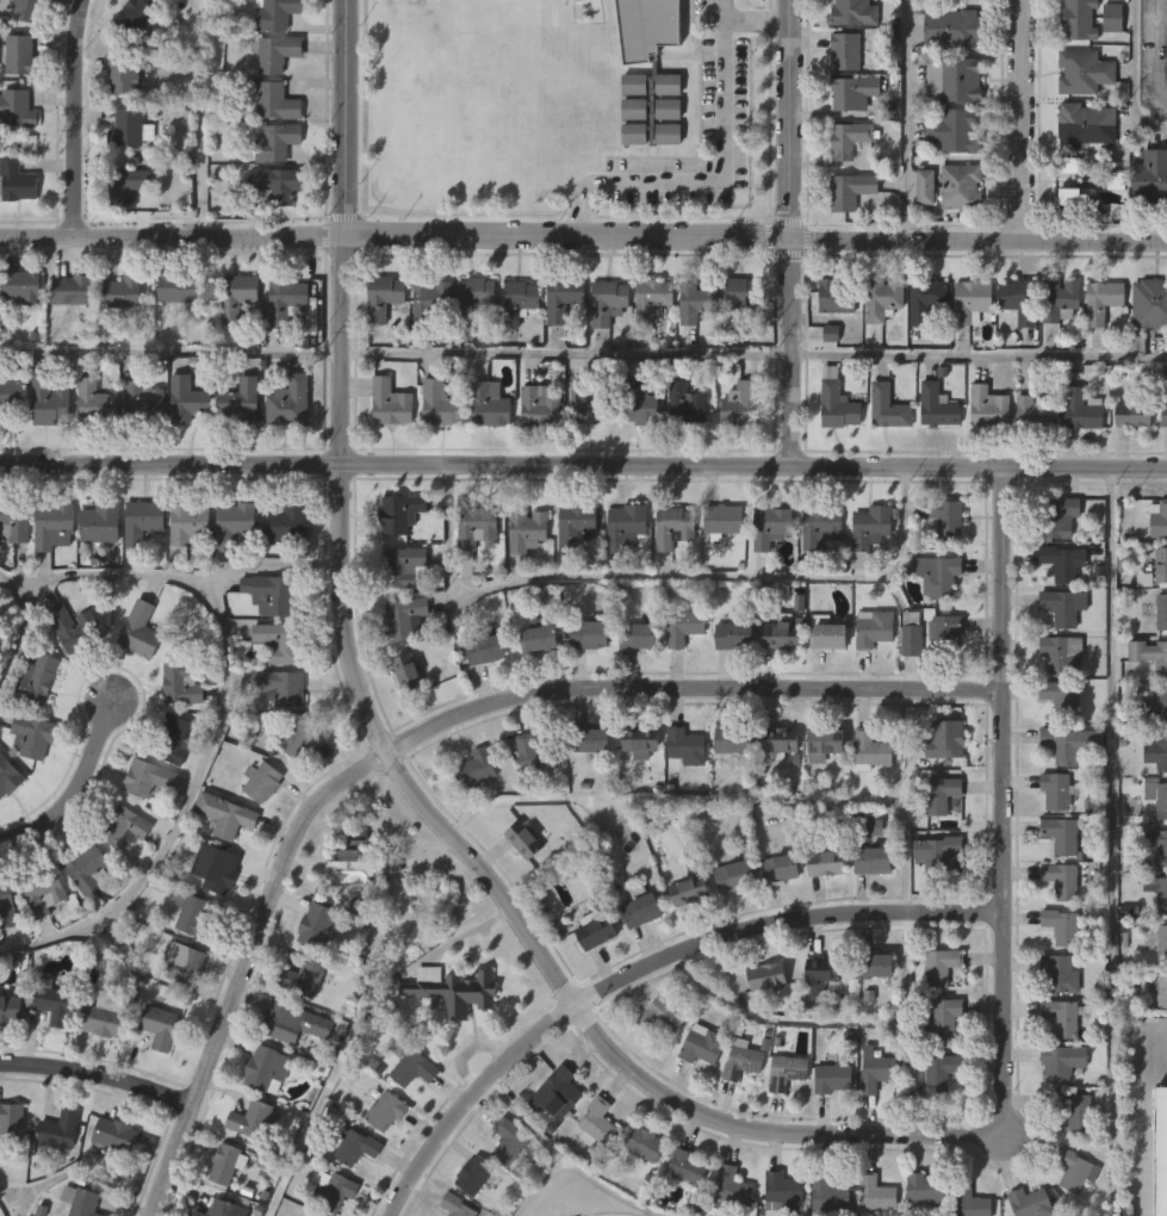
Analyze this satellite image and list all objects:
building: (29, 11)
building: (855, 12)
building: (275, 13)
building: (160, 14)
building: (134, 17)
building: (1097, 18)
building: (1115, 18)
building: (1080, 19)
building: (648, 27)
building: (955, 29)
building: (873, 41)
building: (846, 51)
building: (278, 52)
road: (1157, 54)
building: (19, 55)
building: (1085, 72)
building: (123, 74)
building: (956, 79)
building: (853, 91)
building: (273, 99)
building: (17, 107)
road: (69, 119)
road: (1024, 119)
road: (902, 120)
building: (1088, 124)
building: (132, 128)
building: (956, 129)
building: (628, 135)
building: (663, 135)
building: (852, 137)
building: (277, 141)
building: (14, 159)
building: (663, 159)
building: (628, 160)
building: (1152, 174)
road: (712, 176)
building: (15, 179)
building: (126, 182)
building: (277, 182)
building: (628, 184)
building: (663, 184)
building: (926, 184)
building: (962, 186)
building: (852, 188)
building: (1074, 196)
building: (1148, 225)
building: (13, 231)
building: (272, 234)
road: (795, 234)
building: (122, 235)
building: (919, 236)
building: (955, 236)
road: (583, 240)
building: (845, 241)
building: (1070, 247)
building: (23, 285)
building: (175, 286)
building: (72, 289)
building: (122, 290)
building: (837, 294)
building: (237, 296)
building: (384, 296)
building: (474, 296)
building: (652, 297)
building: (561, 298)
building: (884, 298)
building: (927, 298)
building: (1022, 298)
building: (286, 299)
building: (430, 299)
building: (519, 299)
building: (697, 299)
building: (739, 299)
building: (1061, 299)
building: (608, 300)
building: (974, 300)
building: (1104, 300)
building: (1150, 302)
building: (18, 337)
building: (67, 337)
building: (172, 339)
building: (734, 341)
building: (117, 342)
building: (560, 342)
building: (471, 343)
building: (231, 346)
building: (831, 346)
building: (378, 347)
building: (877, 347)
building: (647, 348)
road: (397, 349)
building: (424, 349)
building: (1054, 349)
building: (280, 350)
building: (514, 350)
building: (691, 350)
building: (920, 350)
building: (1013, 350)
building: (602, 352)
building: (967, 352)
road: (981, 352)
building: (1097, 352)
building: (1146, 353)
building: (11, 399)
building: (186, 399)
building: (241, 399)
building: (94, 401)
building: (49, 402)
building: (143, 402)
building: (290, 402)
building: (391, 402)
building: (440, 402)
building: (589, 402)
building: (638, 402)
building: (838, 402)
building: (490, 403)
building: (743, 403)
building: (685, 404)
building: (541, 405)
building: (939, 405)
building: (989, 405)
building: (889, 407)
building: (1081, 409)
building: (1037, 412)
building: (1135, 414)
building: (1165, 415)
building: (8, 445)
building: (137, 449)
building: (181, 449)
building: (89, 451)
building: (236, 451)
building: (579, 451)
building: (44, 452)
building: (284, 452)
building: (385, 453)
building: (733, 453)
building: (484, 454)
building: (681, 454)
building: (434, 455)
building: (533, 455)
building: (635, 457)
building: (833, 457)
building: (882, 457)
building: (931, 457)
building: (983, 458)
building: (1078, 459)
building: (1030, 463)
road: (583, 465)
building: (1128, 465)
building: (1161, 466)
building: (401, 511)
building: (1060, 516)
building: (944, 517)
building: (725, 519)
building: (1157, 519)
building: (142, 520)
building: (14, 521)
building: (187, 523)
building: (234, 523)
building: (52, 525)
building: (100, 525)
building: (287, 525)
building: (627, 525)
building: (477, 526)
building: (576, 526)
building: (772, 526)
building: (821, 526)
building: (675, 527)
building: (528, 529)
building: (867, 532)
road: (274, 559)
building: (1061, 563)
building: (1161, 564)
building: (403, 566)
building: (718, 569)
building: (137, 571)
road: (663, 571)
building: (95, 572)
building: (184, 572)
building: (12, 573)
building: (228, 573)
building: (281, 573)
building: (939, 573)
building: (570, 575)
building: (48, 576)
building: (620, 576)
building: (669, 576)
building: (765, 576)
building: (814, 577)
building: (471, 578)
building: (864, 579)
building: (522, 581)
building: (272, 594)
building: (1064, 606)
building: (1162, 612)
building: (404, 618)
building: (72, 623)
building: (685, 626)
building: (875, 627)
building: (139, 631)
building: (589, 632)
building: (828, 632)
building: (639, 634)
building: (926, 634)
building: (539, 635)
building: (735, 635)
building: (783, 635)
building: (280, 641)
building: (485, 649)
building: (1063, 653)
building: (1150, 654)
building: (408, 671)
building: (678, 676)
building: (68, 677)
building: (868, 678)
building: (37, 680)
building: (135, 680)
building: (182, 683)
building: (776, 683)
building: (821, 683)
building: (583, 684)
building: (632, 685)
building: (728, 685)
building: (920, 685)
building: (281, 687)
building: (533, 689)
building: (1062, 697)
building: (479, 700)
building: (1152, 713)
road: (217, 718)
building: (402, 721)
road: (428, 726)
building: (32, 734)
building: (275, 737)
building: (174, 739)
building: (300, 739)
building: (946, 739)
building: (594, 740)
building: (637, 740)
building: (728, 740)
building: (780, 740)
building: (825, 743)
building: (1072, 743)
building: (687, 746)
building: (871, 750)
building: (1156, 751)
building: (536, 753)
road: (391, 757)
building: (476, 768)
building: (8, 776)
building: (151, 777)
building: (261, 781)
building: (27, 787)
road: (74, 787)
building: (169, 788)
building: (774, 788)
building: (585, 789)
building: (727, 789)
building: (296, 790)
building: (634, 790)
building: (1057, 790)
building: (819, 793)
building: (942, 794)
building: (1157, 794)
building: (679, 795)
building: (864, 800)
building: (529, 804)
road: (1005, 807)
building: (228, 814)
building: (472, 817)
building: (6, 826)
building: (144, 827)
building: (123, 829)
building: (256, 831)
building: (1063, 836)
building: (524, 839)
building: (1049, 839)
road: (1111, 842)
building: (1159, 849)
building: (938, 851)
building: (826, 860)
building: (874, 861)
building: (781, 868)
building: (88, 869)
building: (222, 871)
building: (734, 876)
building: (119, 877)
building: (1063, 880)
building: (519, 889)
building: (1157, 889)
building: (690, 891)
building: (42, 892)
building: (344, 895)
building: (931, 899)
building: (6, 905)
building: (867, 910)
building: (641, 911)
building: (820, 912)
building: (194, 917)
building: (774, 917)
building: (81, 918)
building: (217, 920)
building: (317, 925)
building: (728, 925)
building: (1062, 926)
building: (592, 930)
building: (683, 939)
building: (1162, 943)
building: (38, 944)
building: (4, 956)
building: (635, 960)
building: (184, 964)
building: (941, 964)
building: (873, 966)
road: (650, 969)
building: (1061, 973)
building: (825, 975)
building: (308, 976)
building: (768, 979)
building: (590, 982)
building: (1160, 989)
building: (453, 992)
building: (50, 1001)
building: (11, 1010)
building: (178, 1012)
building: (663, 1013)
building: (869, 1015)
building: (105, 1016)
building: (1064, 1016)
building: (943, 1017)
road: (355, 1020)
building: (294, 1023)
road: (832, 1023)
building: (817, 1024)
building: (762, 1025)
building: (160, 1026)
building: (446, 1040)
building: (1159, 1040)
building: (703, 1046)
building: (49, 1051)
building: (7, 1059)
building: (743, 1060)
building: (1064, 1060)
building: (657, 1065)
building: (99, 1066)
building: (267, 1069)
building: (414, 1069)
building: (873, 1069)
building: (784, 1072)
building: (938, 1073)
building: (155, 1075)
building: (833, 1077)
road: (99, 1079)
building: (555, 1092)
building: (696, 1094)
building: (1076, 1105)
building: (737, 1109)
building: (390, 1110)
building: (1056, 1112)
building: (250, 1118)
building: (408, 1118)
building: (870, 1118)
building: (11, 1119)
building: (597, 1121)
building: (781, 1121)
building: (933, 1122)
road: (1146, 1123)
building: (827, 1128)
building: (60, 1131)
building: (114, 1135)
building: (509, 1141)
building: (551, 1143)
building: (645, 1143)
building: (360, 1147)
building: (1161, 1152)
building: (380, 1161)
building: (231, 1162)
building: (688, 1166)
building: (590, 1167)
building: (246, 1168)
building: (1076, 1168)
building: (8, 1171)
road: (579, 1171)
building: (474, 1174)
building: (54, 1179)
building: (111, 1184)
building: (733, 1187)
building: (926, 1187)
building: (334, 1190)
building: (504, 1190)
building: (784, 1190)
building: (877, 1191)
building: (830, 1192)
building: (639, 1193)
building: (350, 1196)
building: (80, 1201)
building: (972, 1201)
building: (1033, 1202)
road: (8, 1204)
building: (458, 1205)
building: (678, 1208)
building: (1066, 1208)
building: (222, 1209)
building: (720, 1214)
building: (310, 1215)
park: (604, 1215)

